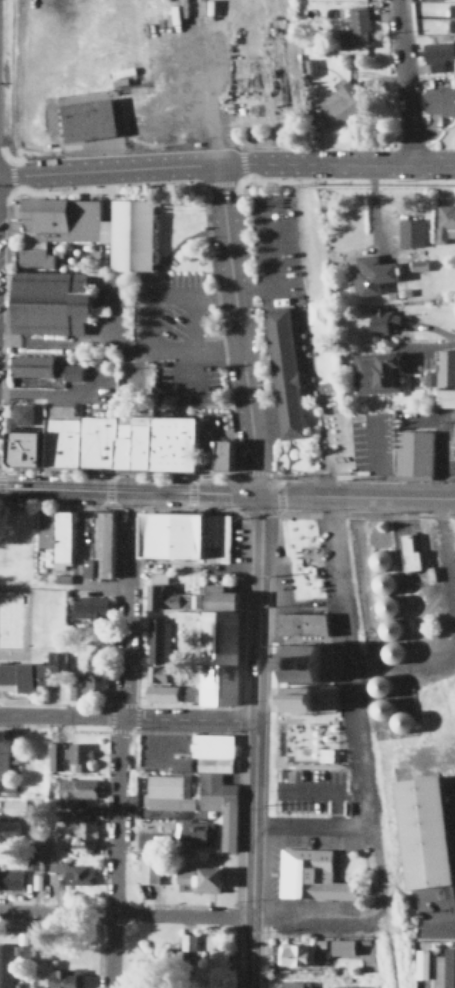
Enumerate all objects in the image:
building: (450, 15)
building: (355, 29)
building: (237, 40)
building: (437, 53)
building: (160, 74)
road: (404, 81)
building: (440, 100)
building: (341, 107)
building: (259, 114)
building: (89, 121)
road: (376, 164)
road: (148, 170)
building: (444, 223)
building: (409, 232)
building: (86, 233)
building: (371, 273)
road: (189, 299)
building: (51, 303)
building: (313, 311)
building: (385, 320)
road: (430, 327)
road: (237, 330)
road: (119, 341)
building: (33, 366)
building: (70, 370)
building: (285, 372)
building: (377, 372)
building: (446, 378)
building: (19, 410)
building: (452, 432)
building: (120, 442)
building: (17, 445)
building: (217, 453)
building: (225, 454)
building: (415, 454)
road: (377, 456)
road: (128, 491)
road: (291, 495)
road: (390, 496)
building: (162, 533)
building: (53, 534)
building: (215, 536)
building: (90, 542)
building: (405, 552)
building: (164, 594)
road: (127, 603)
building: (381, 604)
building: (87, 605)
road: (26, 619)
park: (21, 620)
building: (297, 621)
building: (157, 640)
building: (213, 646)
building: (302, 661)
building: (28, 671)
road: (350, 671)
building: (157, 673)
building: (89, 680)
road: (54, 693)
building: (163, 693)
building: (298, 697)
road: (27, 701)
building: (381, 703)
road: (0, 706)
road: (60, 714)
road: (188, 717)
road: (254, 740)
building: (69, 756)
building: (3, 760)
building: (178, 762)
building: (218, 781)
road: (326, 788)
building: (76, 791)
building: (170, 791)
building: (13, 807)
road: (311, 823)
building: (78, 825)
building: (9, 830)
building: (425, 831)
building: (199, 836)
road: (114, 851)
building: (33, 862)
building: (149, 870)
building: (310, 874)
building: (79, 876)
building: (201, 877)
building: (10, 879)
road: (124, 913)
road: (435, 923)
building: (188, 942)
building: (342, 947)
building: (295, 954)
building: (161, 958)
building: (419, 962)
building: (5, 965)
building: (448, 966)
building: (64, 978)
building: (294, 985)
building: (347, 987)

